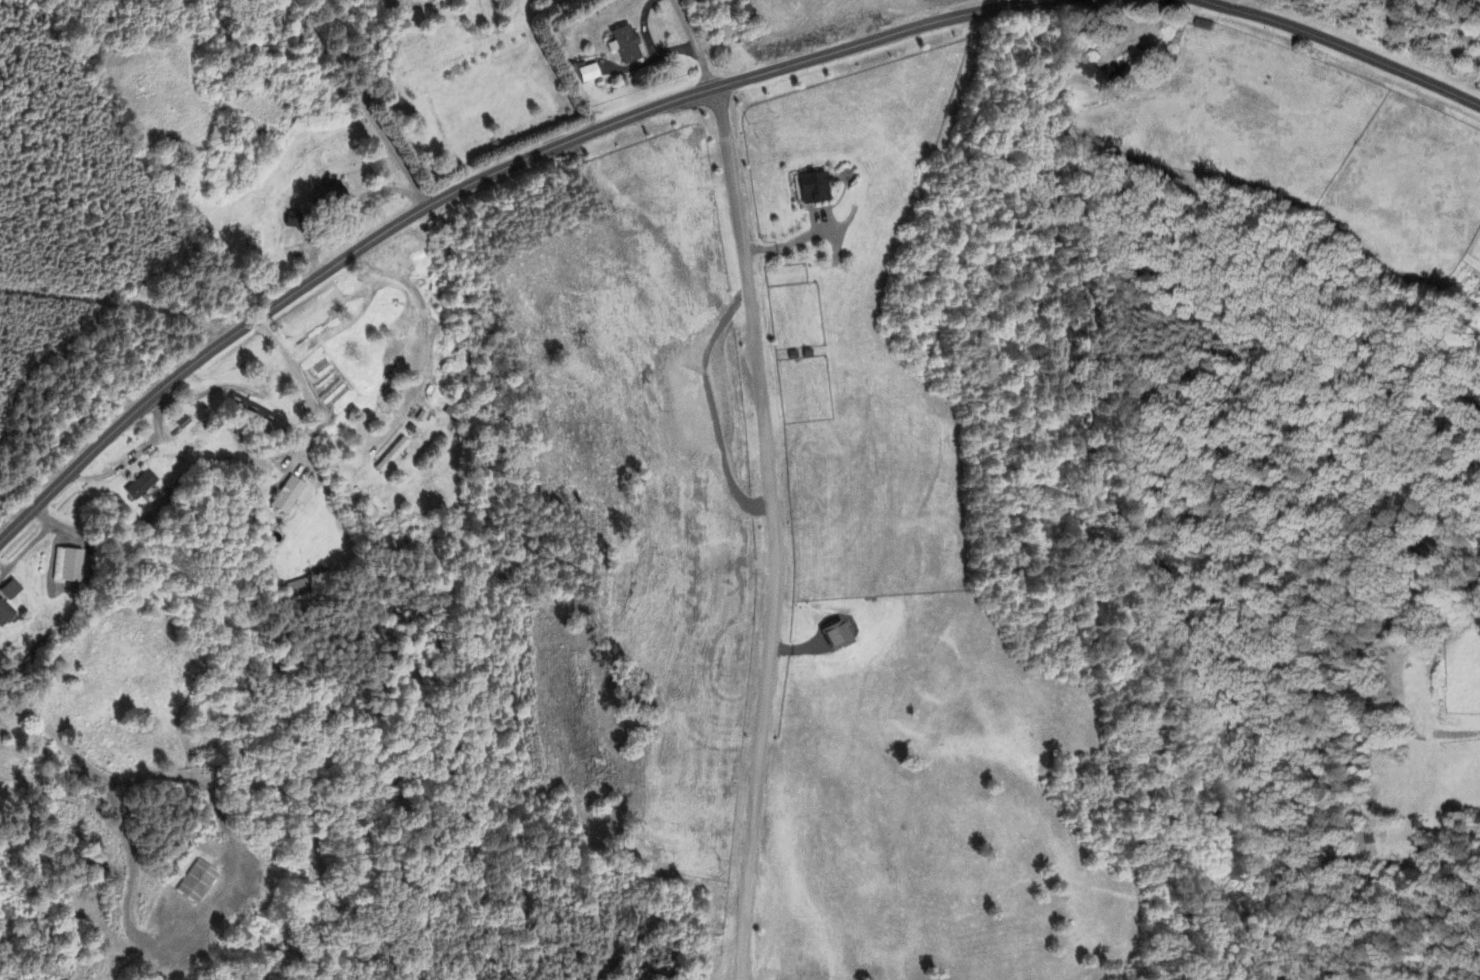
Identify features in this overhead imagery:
road: (695, 44)
building: (624, 45)
road: (1341, 47)
building: (1089, 69)
building: (582, 74)
road: (327, 102)
road: (479, 177)
building: (812, 188)
building: (335, 196)
road: (304, 385)
road: (208, 392)
building: (250, 409)
building: (391, 456)
road: (131, 458)
building: (140, 486)
building: (286, 496)
road: (779, 532)
building: (67, 566)
building: (9, 591)
building: (4, 612)
building: (833, 637)
building: (195, 884)
road: (228, 890)

